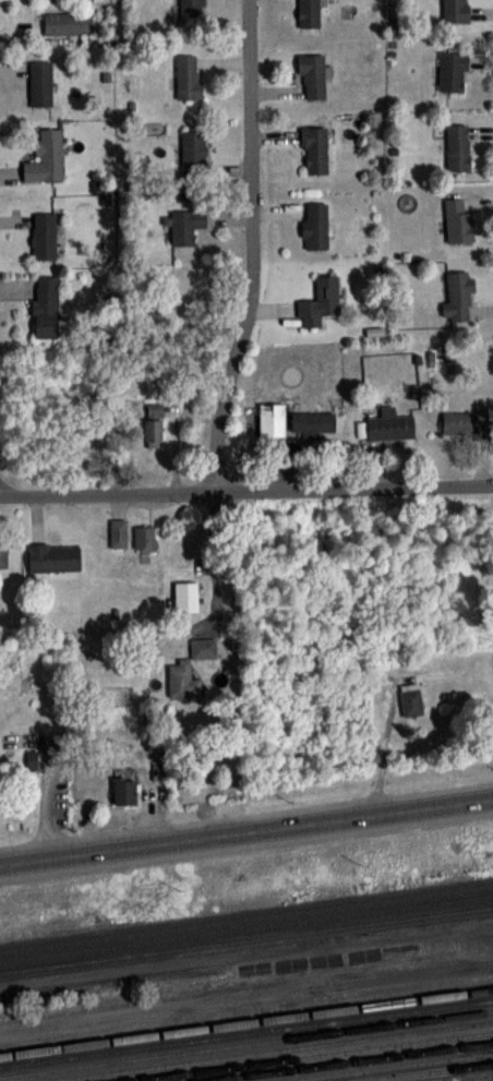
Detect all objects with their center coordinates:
building: (191, 7)
building: (454, 10)
building: (309, 13)
building: (68, 23)
building: (452, 70)
building: (312, 75)
building: (188, 76)
building: (40, 83)
building: (457, 146)
building: (193, 147)
building: (314, 149)
building: (46, 157)
building: (458, 221)
building: (185, 225)
building: (315, 225)
building: (44, 236)
road: (250, 247)
building: (458, 296)
building: (320, 302)
building: (46, 307)
building: (272, 419)
building: (313, 422)
building: (467, 422)
building: (154, 423)
building: (389, 425)
road: (246, 488)
building: (118, 532)
building: (145, 538)
road: (211, 549)
building: (3, 554)
building: (53, 556)
building: (187, 596)
building: (181, 678)
building: (411, 699)
building: (0, 784)
building: (124, 791)
road: (246, 830)
railway: (246, 918)
railway: (246, 928)
railway: (246, 939)
railway: (246, 1022)
railway: (245, 1032)
railway: (246, 1043)
railway: (268, 1050)
railway: (308, 1056)
railway: (352, 1061)
railway: (388, 1067)
railway: (424, 1071)
railway: (468, 1077)

